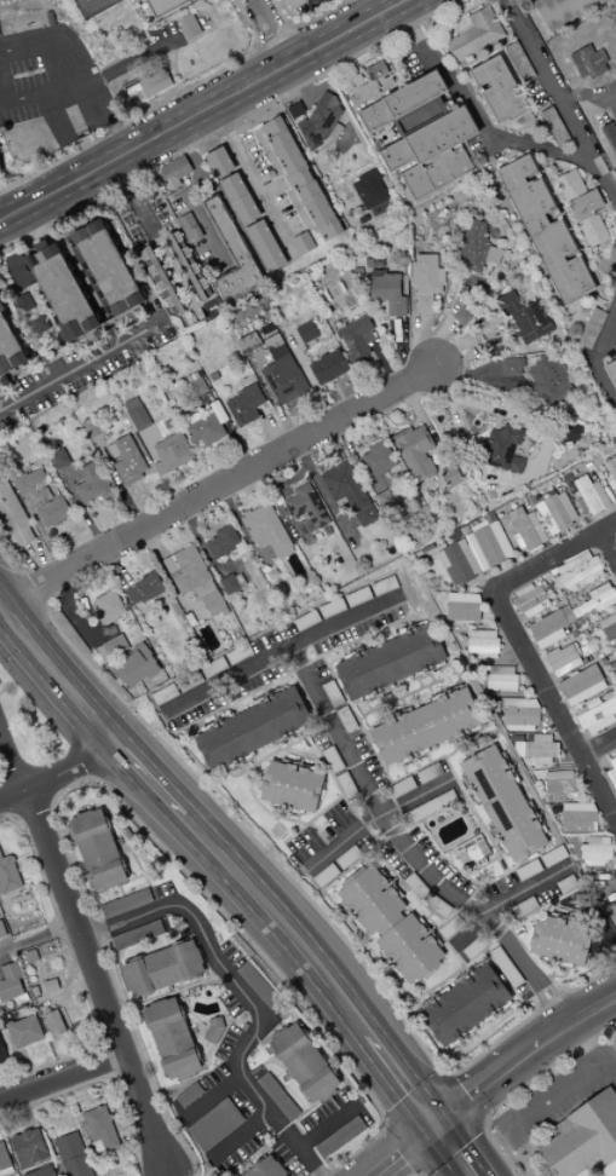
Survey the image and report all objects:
building: (85, 0)
building: (88, 0)
building: (318, 1)
road: (316, 2)
road: (322, 2)
building: (295, 4)
building: (165, 6)
road: (91, 7)
building: (565, 11)
building: (50, 19)
road: (306, 23)
building: (190, 27)
road: (336, 27)
road: (269, 28)
road: (290, 28)
road: (235, 30)
building: (476, 35)
road: (276, 41)
road: (258, 46)
road: (322, 58)
building: (519, 63)
building: (588, 63)
road: (77, 69)
road: (157, 71)
road: (173, 74)
road: (246, 76)
road: (94, 80)
building: (156, 83)
building: (367, 83)
road: (2, 90)
building: (134, 90)
building: (499, 91)
building: (415, 94)
road: (559, 102)
road: (151, 109)
building: (374, 117)
road: (483, 117)
building: (321, 120)
road: (228, 125)
building: (554, 127)
road: (172, 128)
building: (610, 136)
building: (432, 154)
building: (219, 163)
building: (0, 171)
road: (5, 172)
building: (174, 173)
building: (0, 174)
road: (247, 174)
building: (301, 179)
road: (67, 186)
building: (232, 188)
building: (369, 190)
building: (583, 209)
building: (246, 211)
building: (545, 232)
building: (303, 243)
building: (265, 247)
building: (476, 248)
building: (232, 254)
building: (611, 263)
building: (189, 266)
building: (106, 269)
building: (426, 281)
building: (53, 287)
building: (387, 293)
building: (524, 318)
road: (605, 332)
building: (306, 333)
building: (358, 340)
building: (585, 340)
building: (8, 348)
road: (77, 367)
building: (512, 368)
building: (326, 369)
building: (611, 371)
building: (282, 377)
road: (604, 379)
building: (549, 380)
building: (197, 387)
building: (244, 405)
building: (139, 423)
building: (93, 426)
building: (207, 427)
building: (503, 449)
building: (415, 452)
building: (172, 454)
building: (59, 460)
building: (127, 461)
building: (378, 462)
building: (611, 474)
building: (450, 475)
building: (29, 482)
building: (91, 485)
road: (217, 486)
building: (349, 492)
building: (589, 496)
building: (305, 509)
building: (53, 513)
building: (555, 513)
building: (13, 517)
building: (266, 531)
building: (526, 531)
building: (223, 542)
road: (610, 543)
building: (476, 552)
building: (576, 573)
building: (194, 578)
building: (232, 583)
building: (384, 586)
building: (144, 589)
building: (357, 598)
building: (531, 599)
building: (599, 599)
building: (108, 607)
building: (464, 607)
building: (309, 618)
building: (551, 628)
building: (609, 628)
building: (483, 644)
road: (525, 646)
building: (612, 658)
road: (287, 659)
building: (563, 661)
building: (386, 663)
building: (136, 668)
road: (59, 679)
building: (501, 679)
building: (581, 686)
building: (597, 713)
building: (520, 714)
building: (426, 727)
building: (252, 730)
building: (539, 749)
road: (599, 749)
road: (59, 772)
building: (428, 773)
building: (611, 774)
road: (152, 779)
building: (560, 785)
building: (292, 788)
building: (503, 806)
building: (431, 807)
building: (578, 818)
road: (379, 820)
building: (98, 851)
building: (472, 851)
building: (595, 851)
road: (269, 854)
road: (413, 854)
building: (8, 876)
road: (528, 890)
building: (125, 904)
building: (612, 918)
road: (281, 920)
road: (113, 926)
building: (391, 926)
building: (1, 930)
road: (96, 932)
road: (40, 936)
building: (136, 936)
building: (560, 940)
road: (88, 947)
building: (162, 969)
building: (10, 984)
building: (258, 986)
building: (464, 1005)
road: (257, 1014)
building: (56, 1022)
building: (213, 1031)
building: (24, 1032)
building: (172, 1038)
building: (2, 1051)
road: (526, 1055)
building: (304, 1063)
road: (404, 1078)
road: (65, 1082)
building: (278, 1097)
road: (539, 1112)
building: (214, 1125)
traffic signals: (439, 1125)
building: (99, 1130)
building: (340, 1137)
building: (583, 1137)
building: (28, 1148)
road: (457, 1149)
road: (407, 1151)
building: (73, 1155)
building: (4, 1159)
building: (267, 1169)
building: (42, 1172)
road: (171, 1174)

